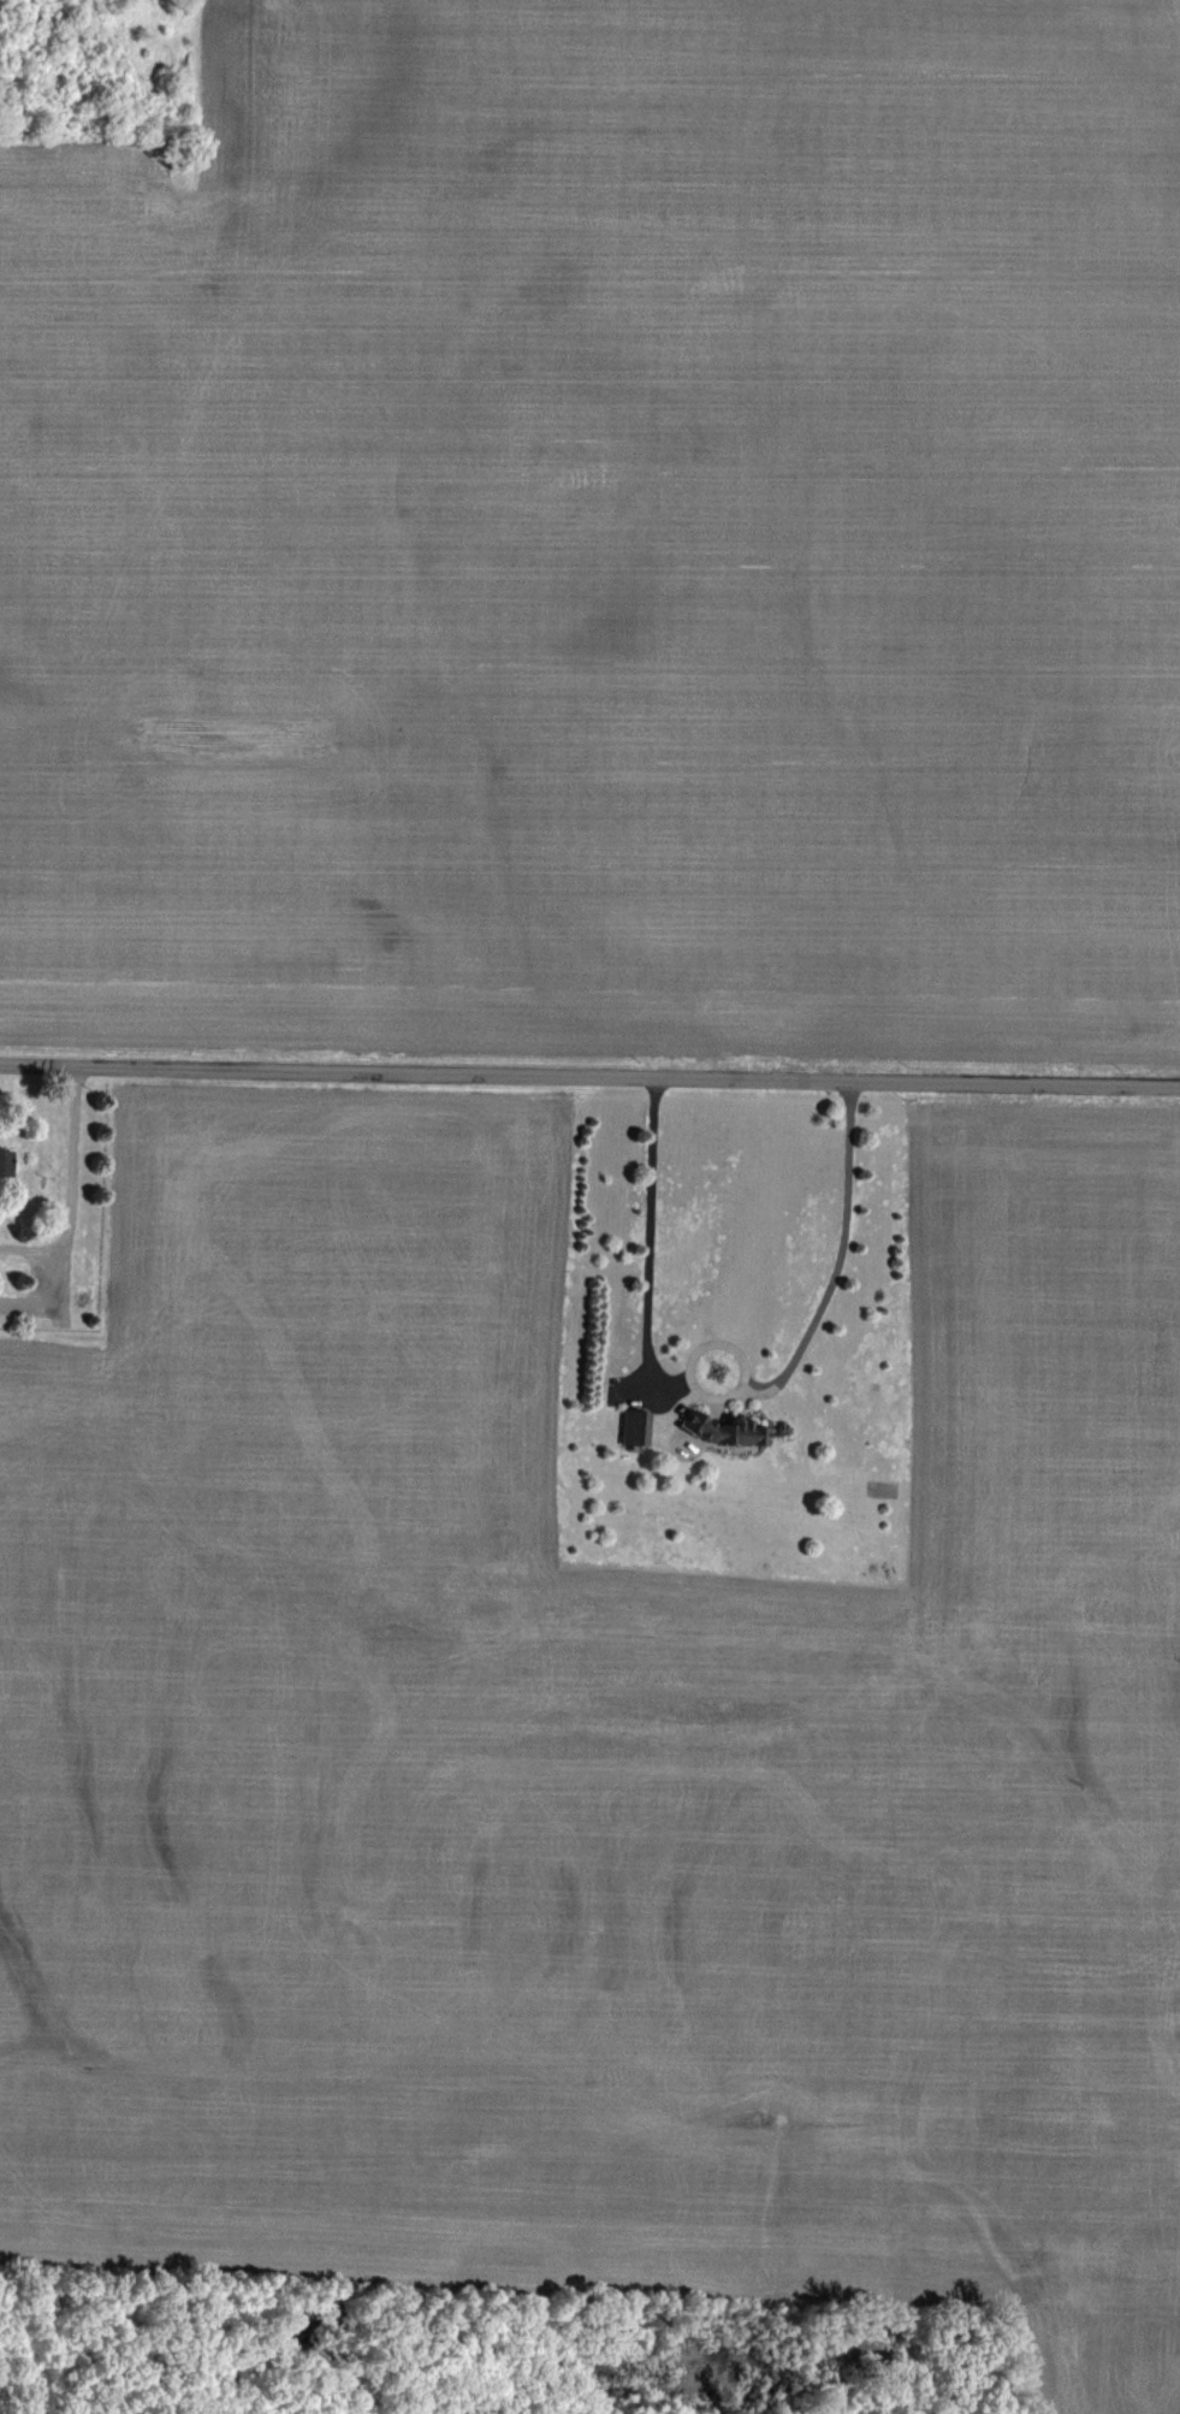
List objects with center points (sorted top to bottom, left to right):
crop: (598, 543)
road: (589, 1076)
building: (4, 1160)
road: (70, 1203)
road: (721, 1394)
building: (718, 1430)
crop: (585, 1806)

